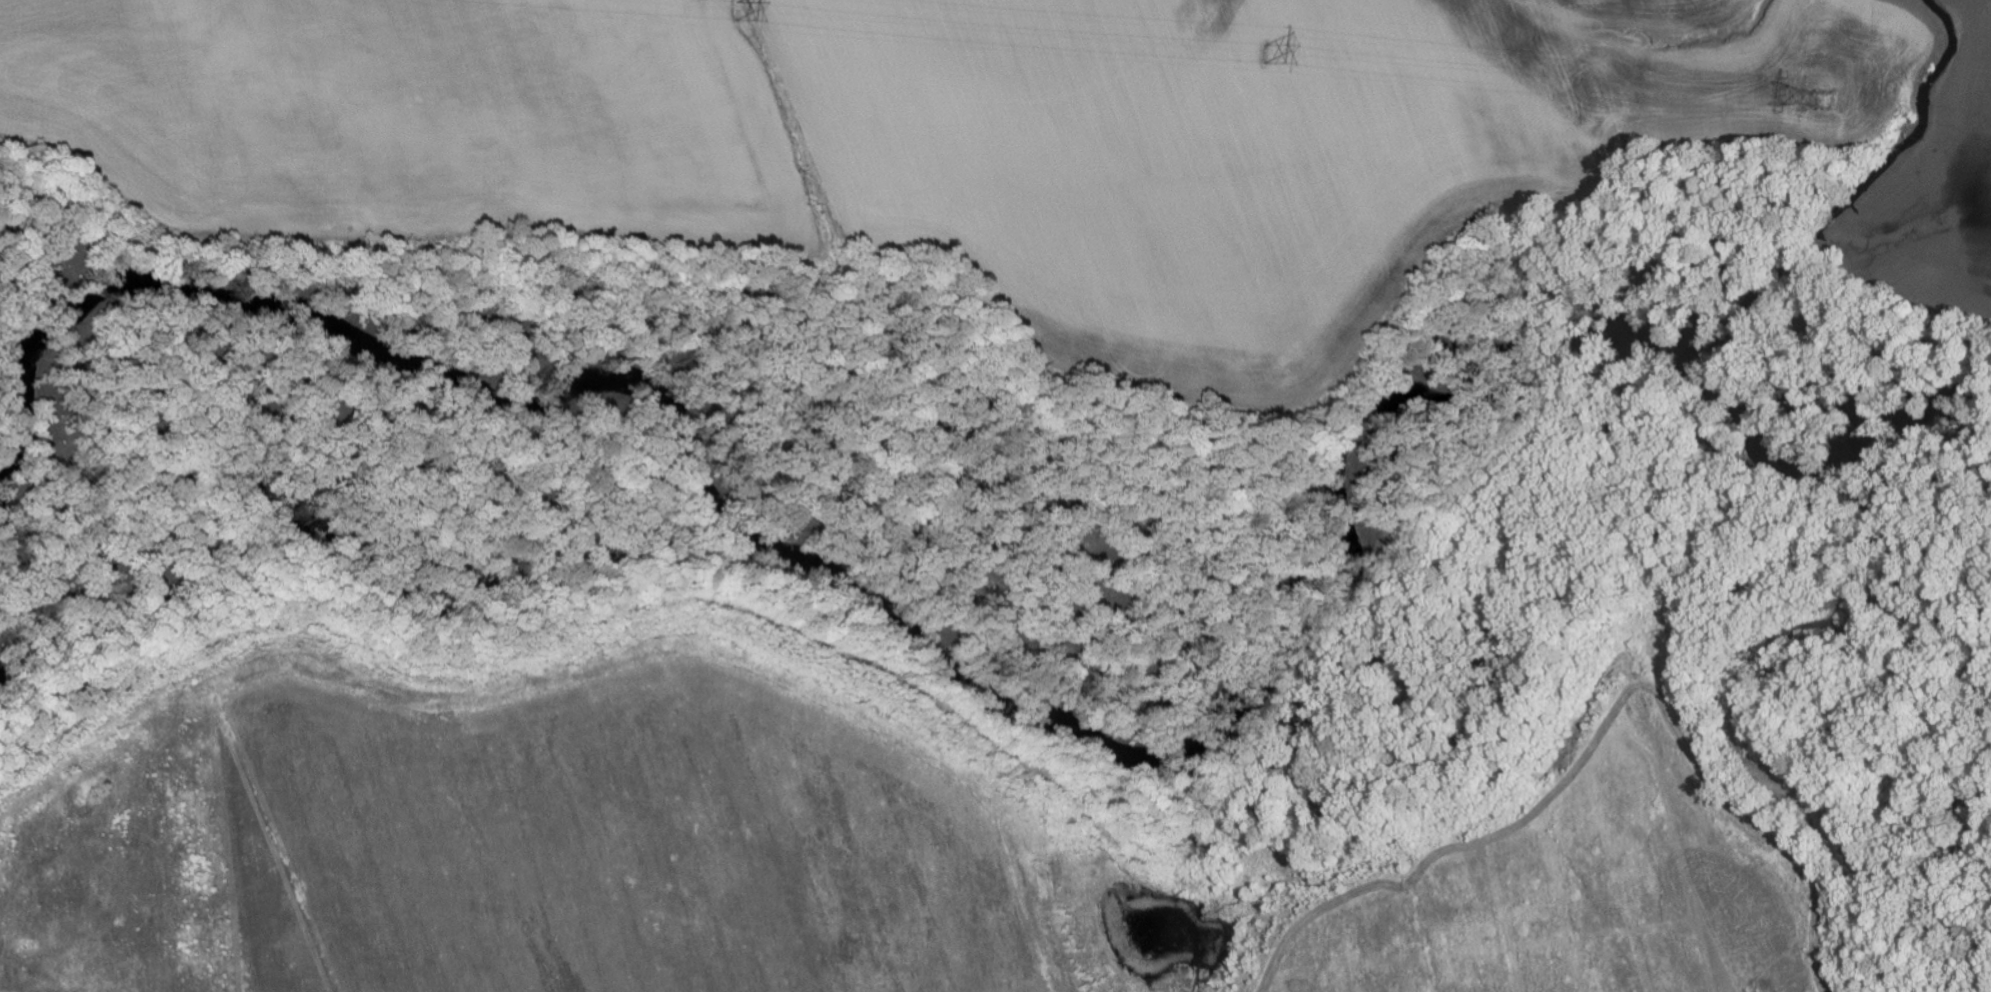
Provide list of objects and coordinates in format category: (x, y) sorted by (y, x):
power tower: (736, 12)
power tower: (1265, 55)
power tower: (1820, 100)
river: (1024, 698)

